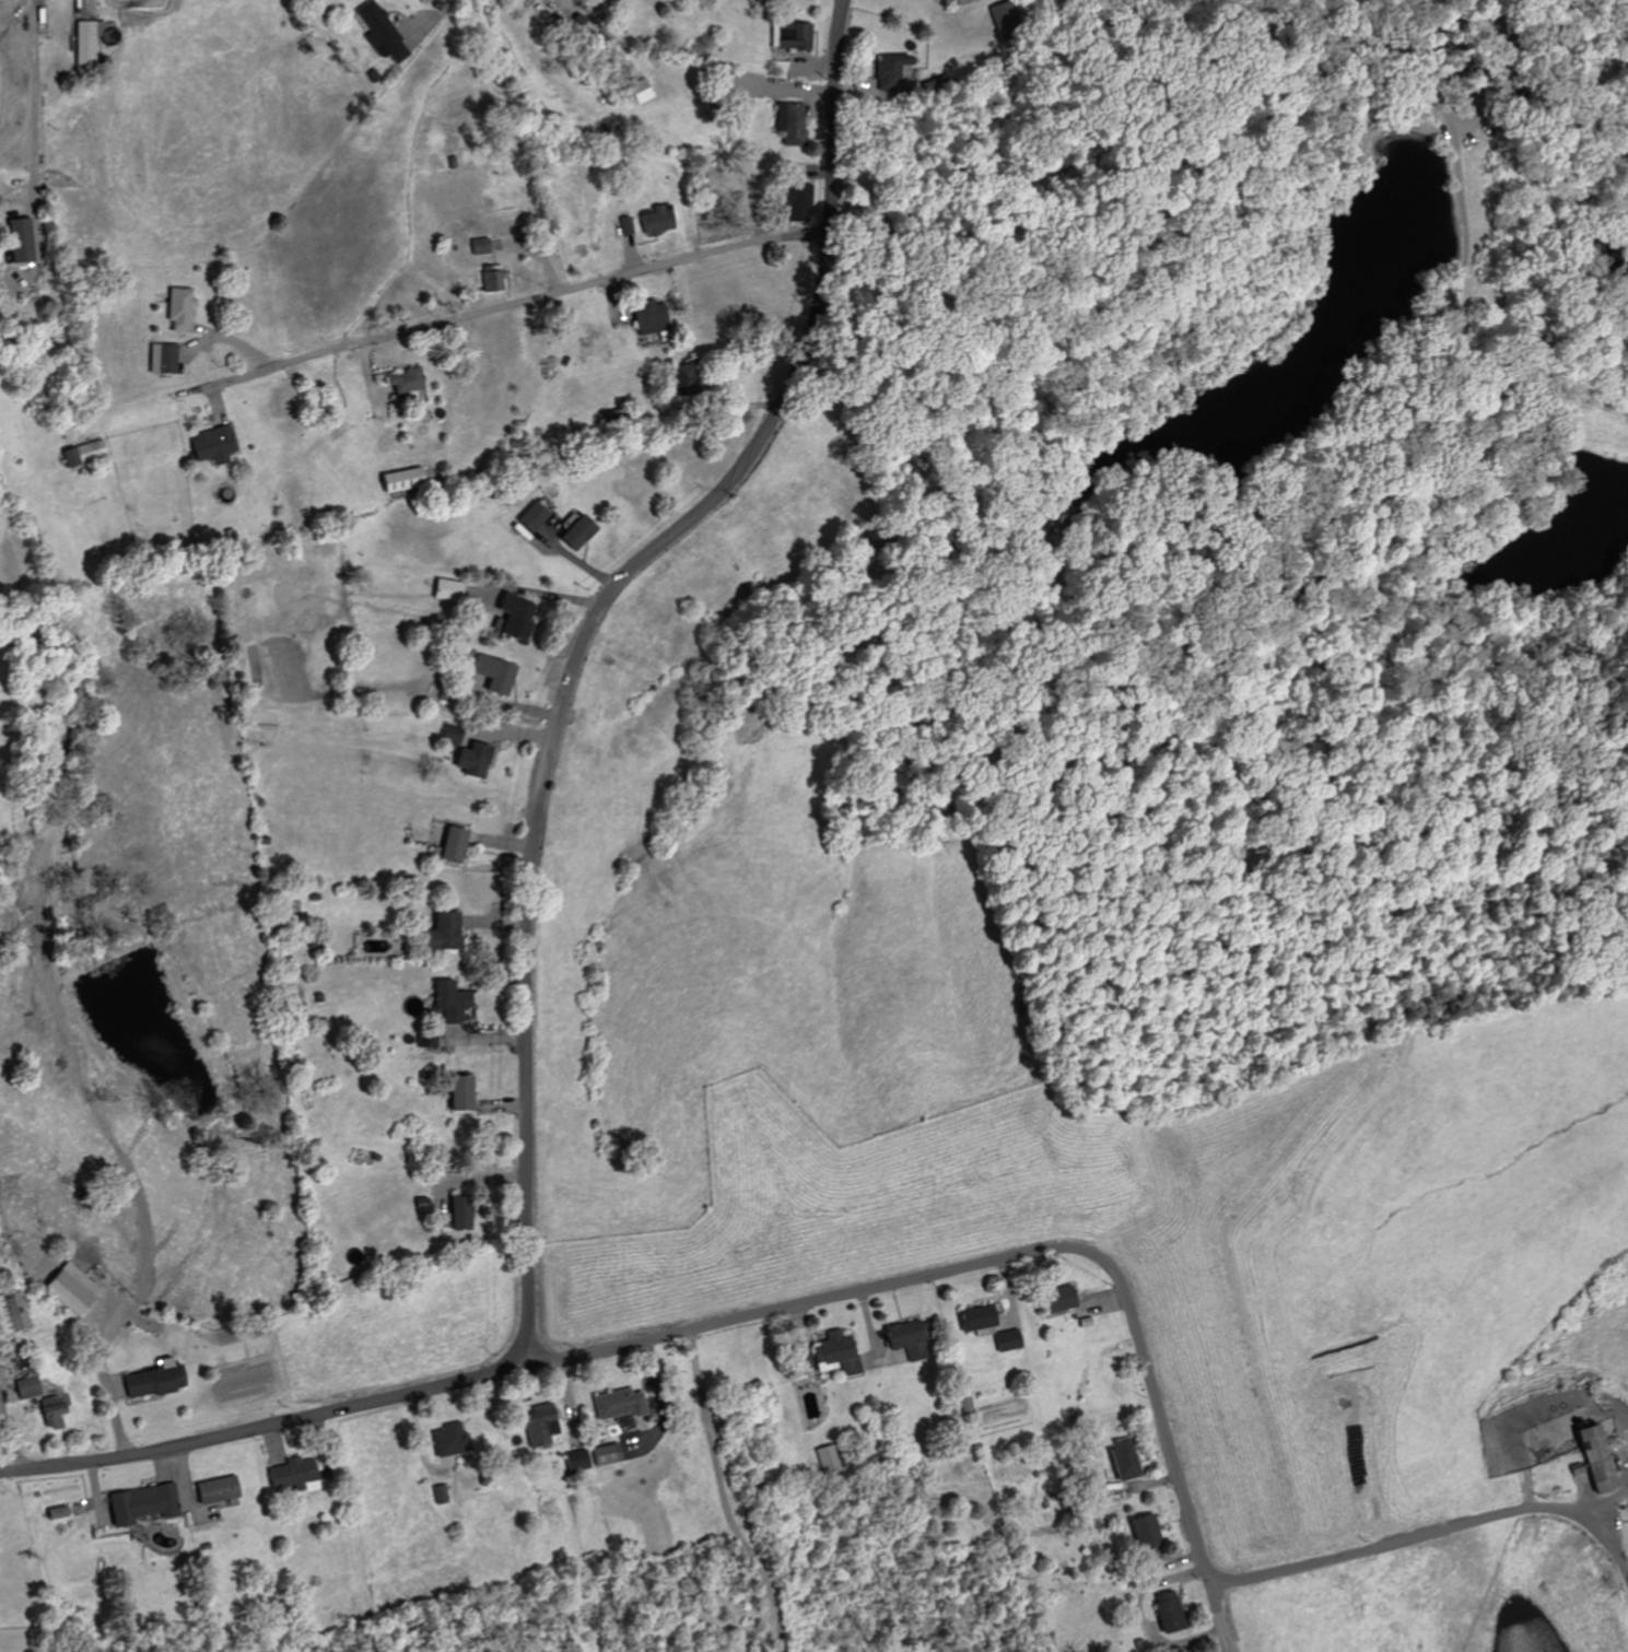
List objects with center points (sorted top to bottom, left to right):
road: (444, 5)
building: (380, 33)
building: (788, 35)
building: (886, 69)
road: (34, 90)
building: (792, 124)
building: (794, 200)
building: (656, 219)
building: (626, 225)
building: (17, 239)
building: (479, 245)
building: (490, 279)
building: (14, 285)
road: (508, 305)
building: (177, 308)
building: (652, 319)
building: (162, 358)
building: (402, 379)
building: (210, 445)
building: (83, 453)
building: (399, 478)
building: (530, 517)
building: (573, 529)
building: (446, 588)
building: (513, 616)
road: (579, 644)
building: (490, 672)
building: (447, 736)
building: (471, 759)
building: (449, 844)
building: (437, 932)
building: (447, 998)
building: (426, 1038)
building: (457, 1092)
building: (462, 1218)
road: (984, 1264)
building: (70, 1288)
building: (1054, 1299)
building: (9, 1312)
building: (973, 1320)
road: (866, 1328)
building: (903, 1338)
building: (1004, 1340)
building: (823, 1356)
building: (149, 1380)
road: (106, 1382)
building: (24, 1387)
building: (613, 1407)
building: (49, 1410)
road: (266, 1426)
building: (531, 1426)
building: (444, 1440)
building: (602, 1454)
building: (824, 1458)
building: (1589, 1458)
building: (572, 1460)
building: (1120, 1460)
building: (289, 1472)
building: (212, 1489)
road: (725, 1495)
building: (137, 1503)
building: (1140, 1531)
road: (1433, 1532)
building: (1164, 1612)
road: (1218, 1619)

